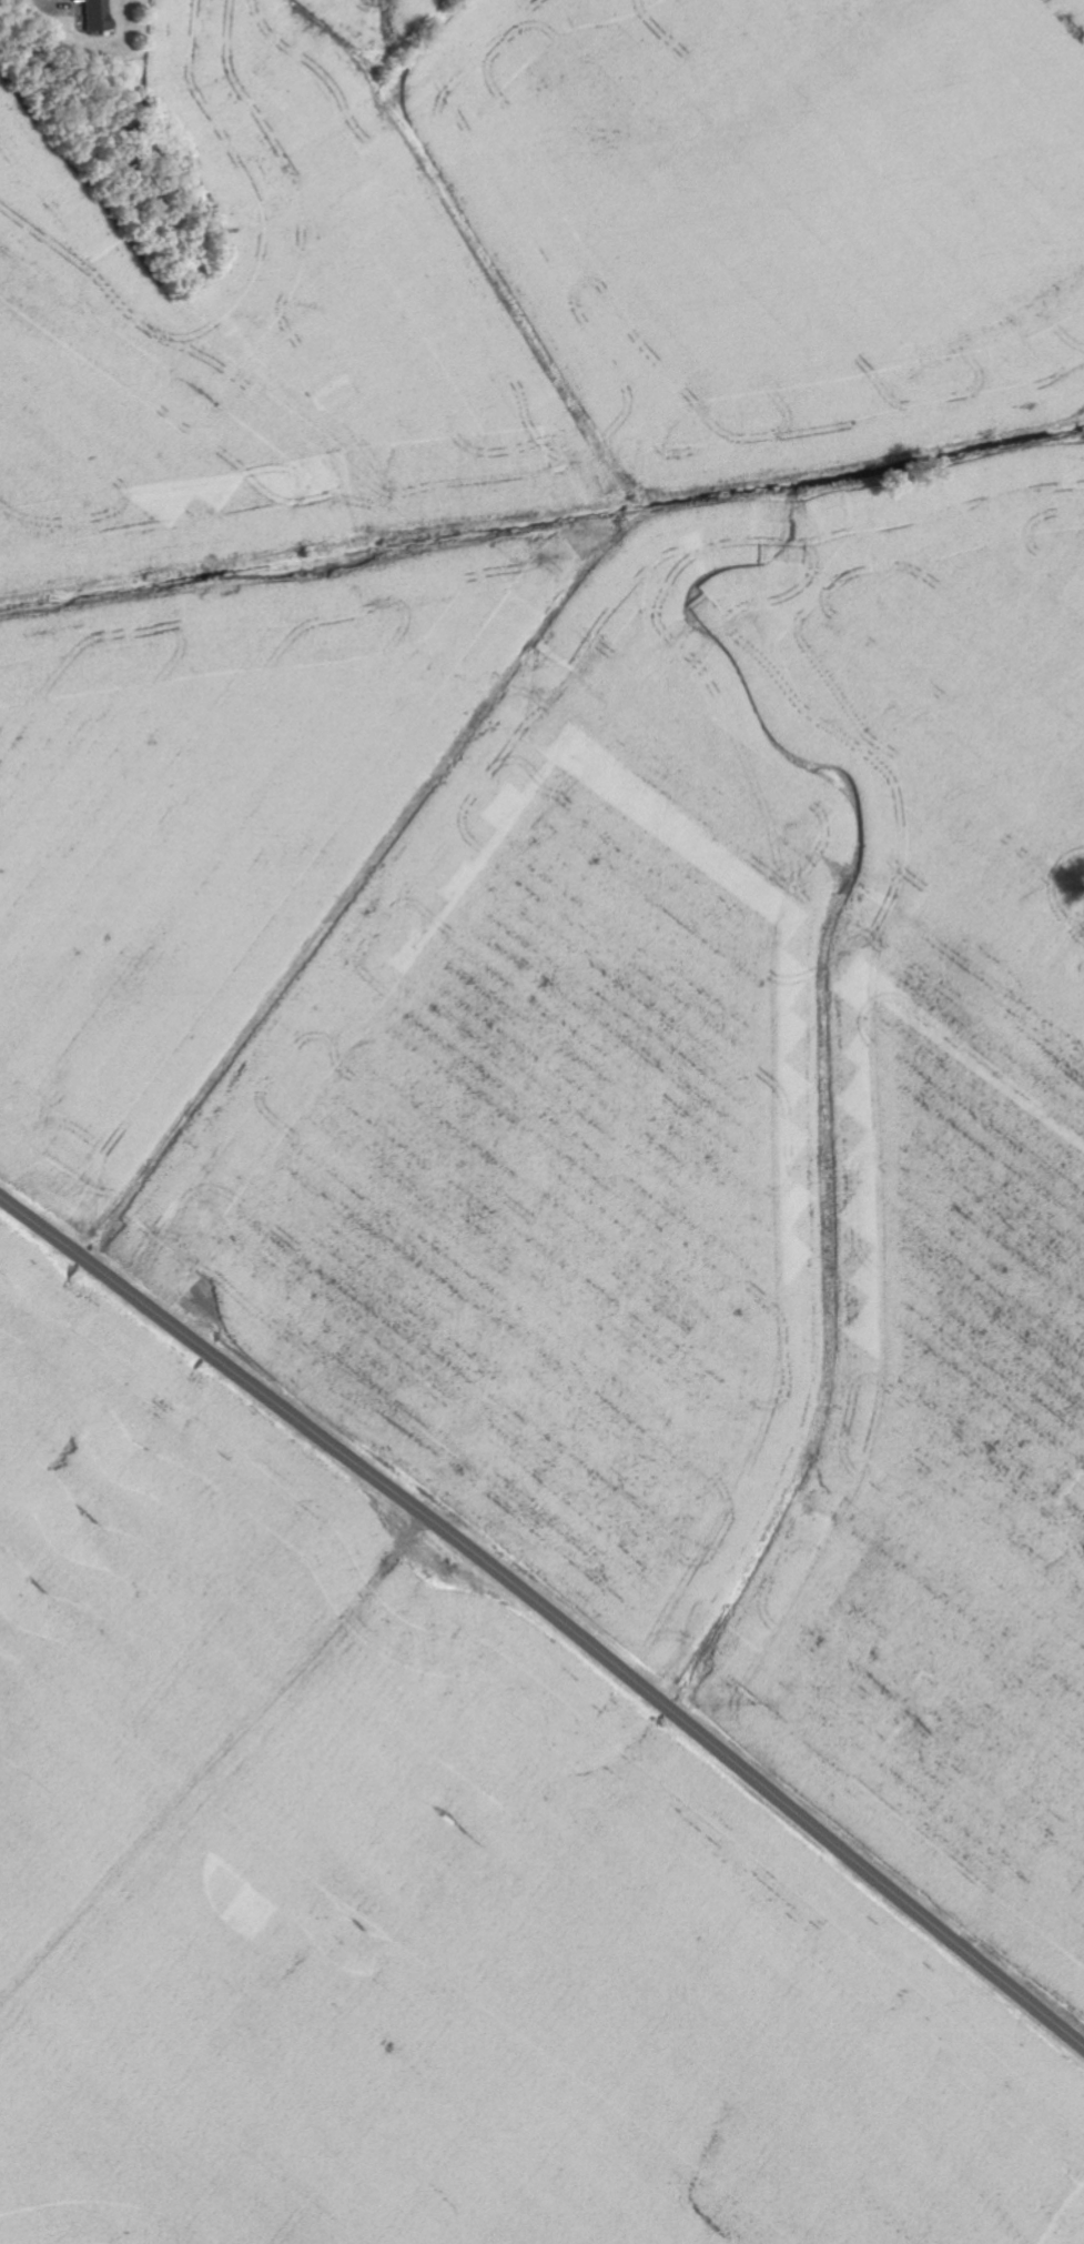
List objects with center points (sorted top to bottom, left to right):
road: (49, 3)
building: (92, 16)
road: (549, 1613)

